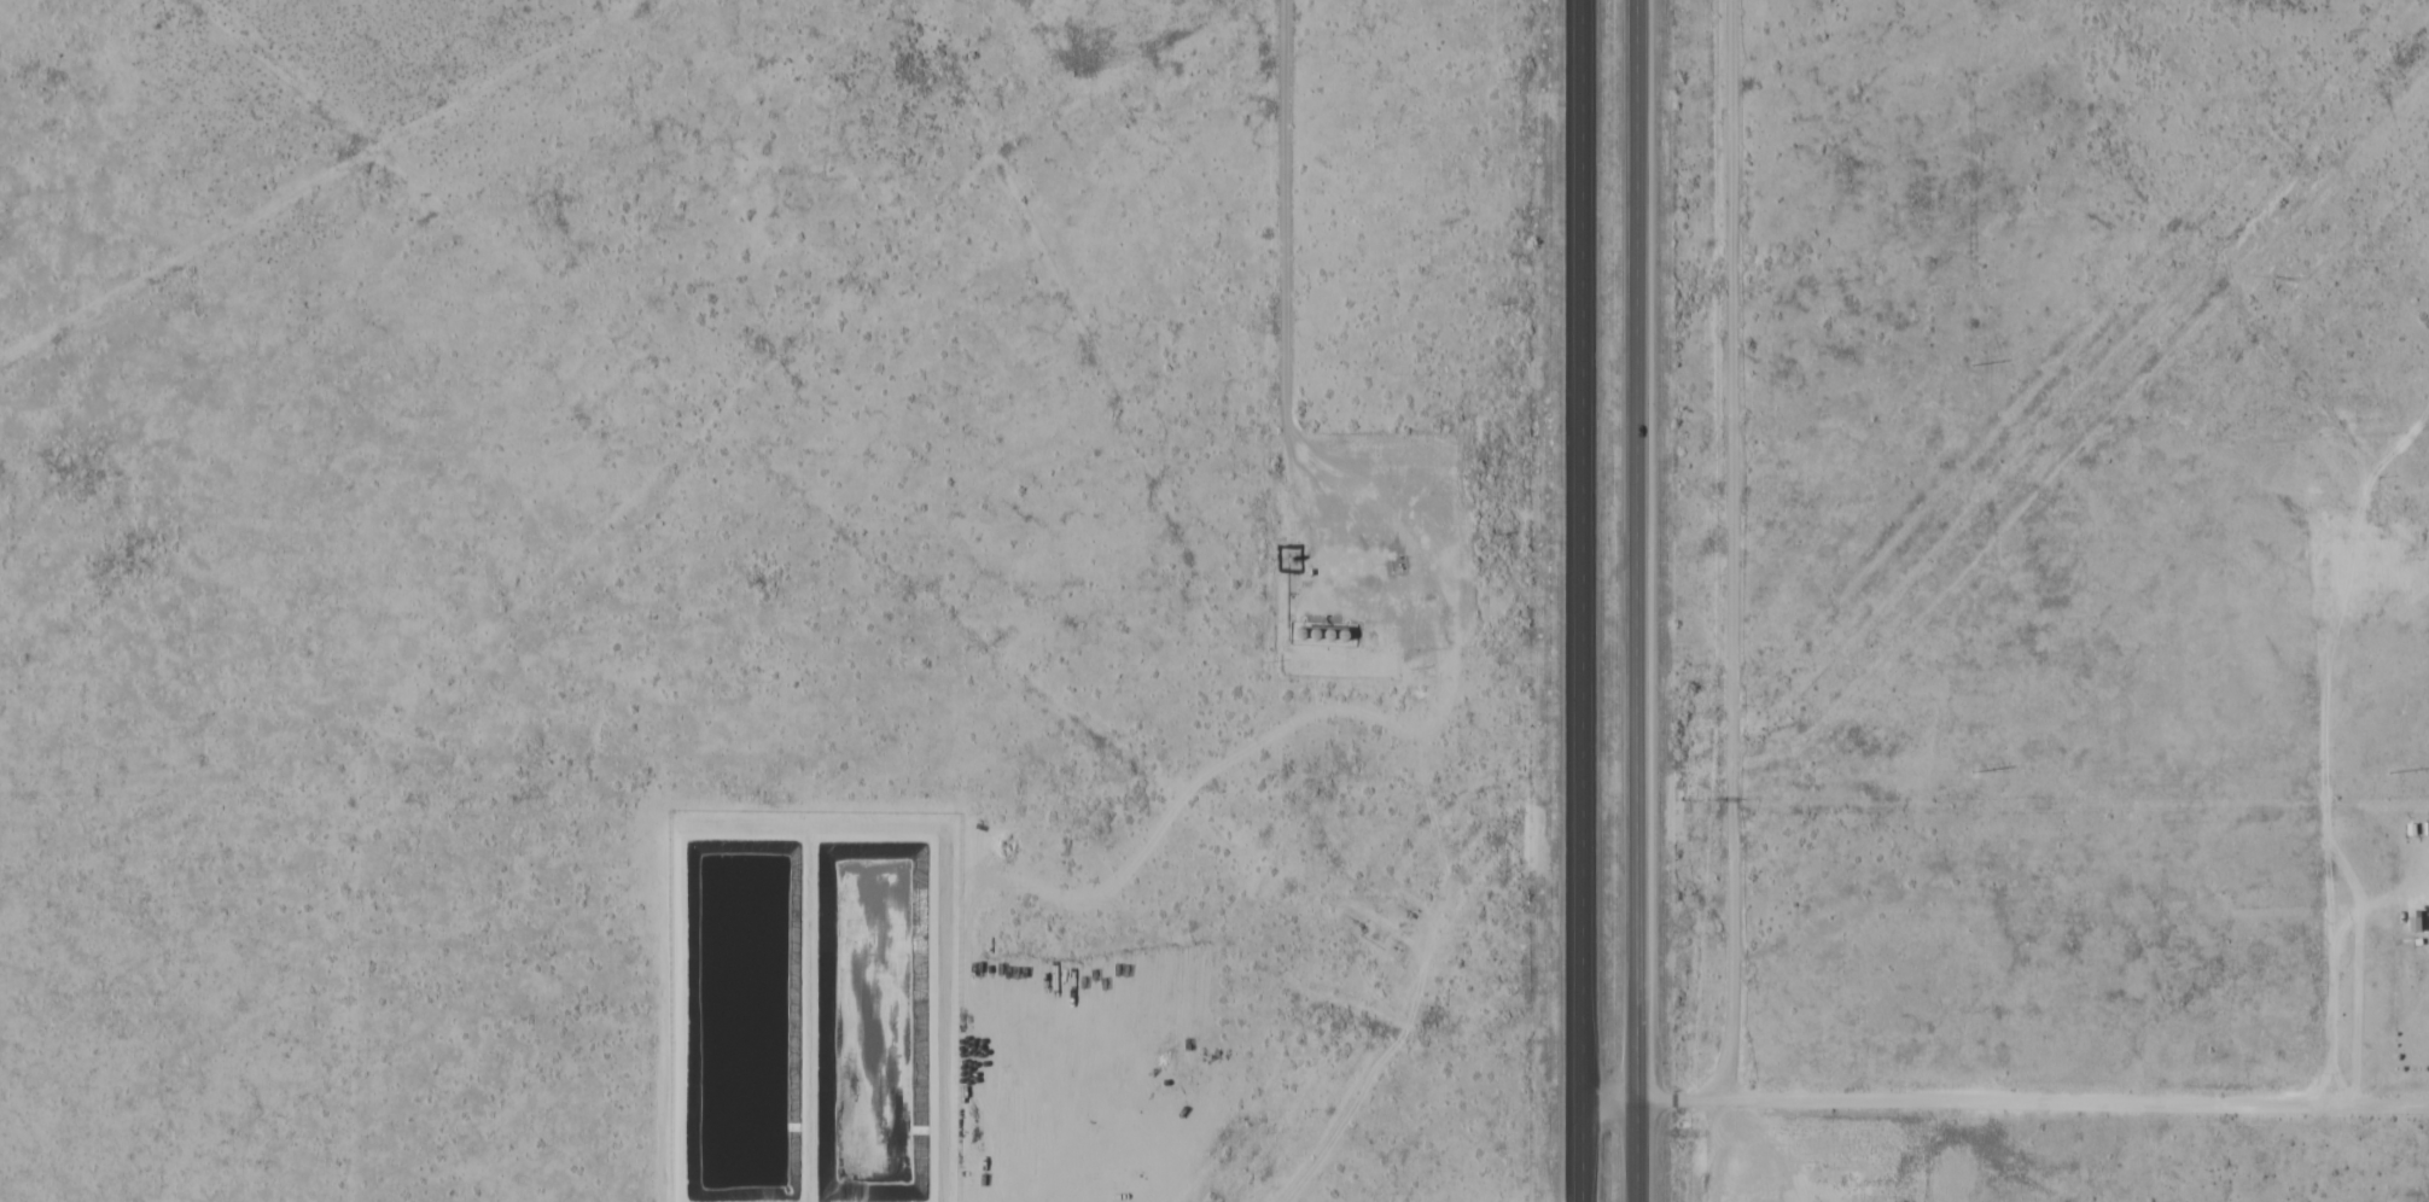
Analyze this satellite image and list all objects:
road: (1274, 345)
road: (1718, 547)
road: (1592, 601)
road: (1647, 601)
road: (1619, 1092)
road: (2037, 1101)
road: (1765, 1148)

